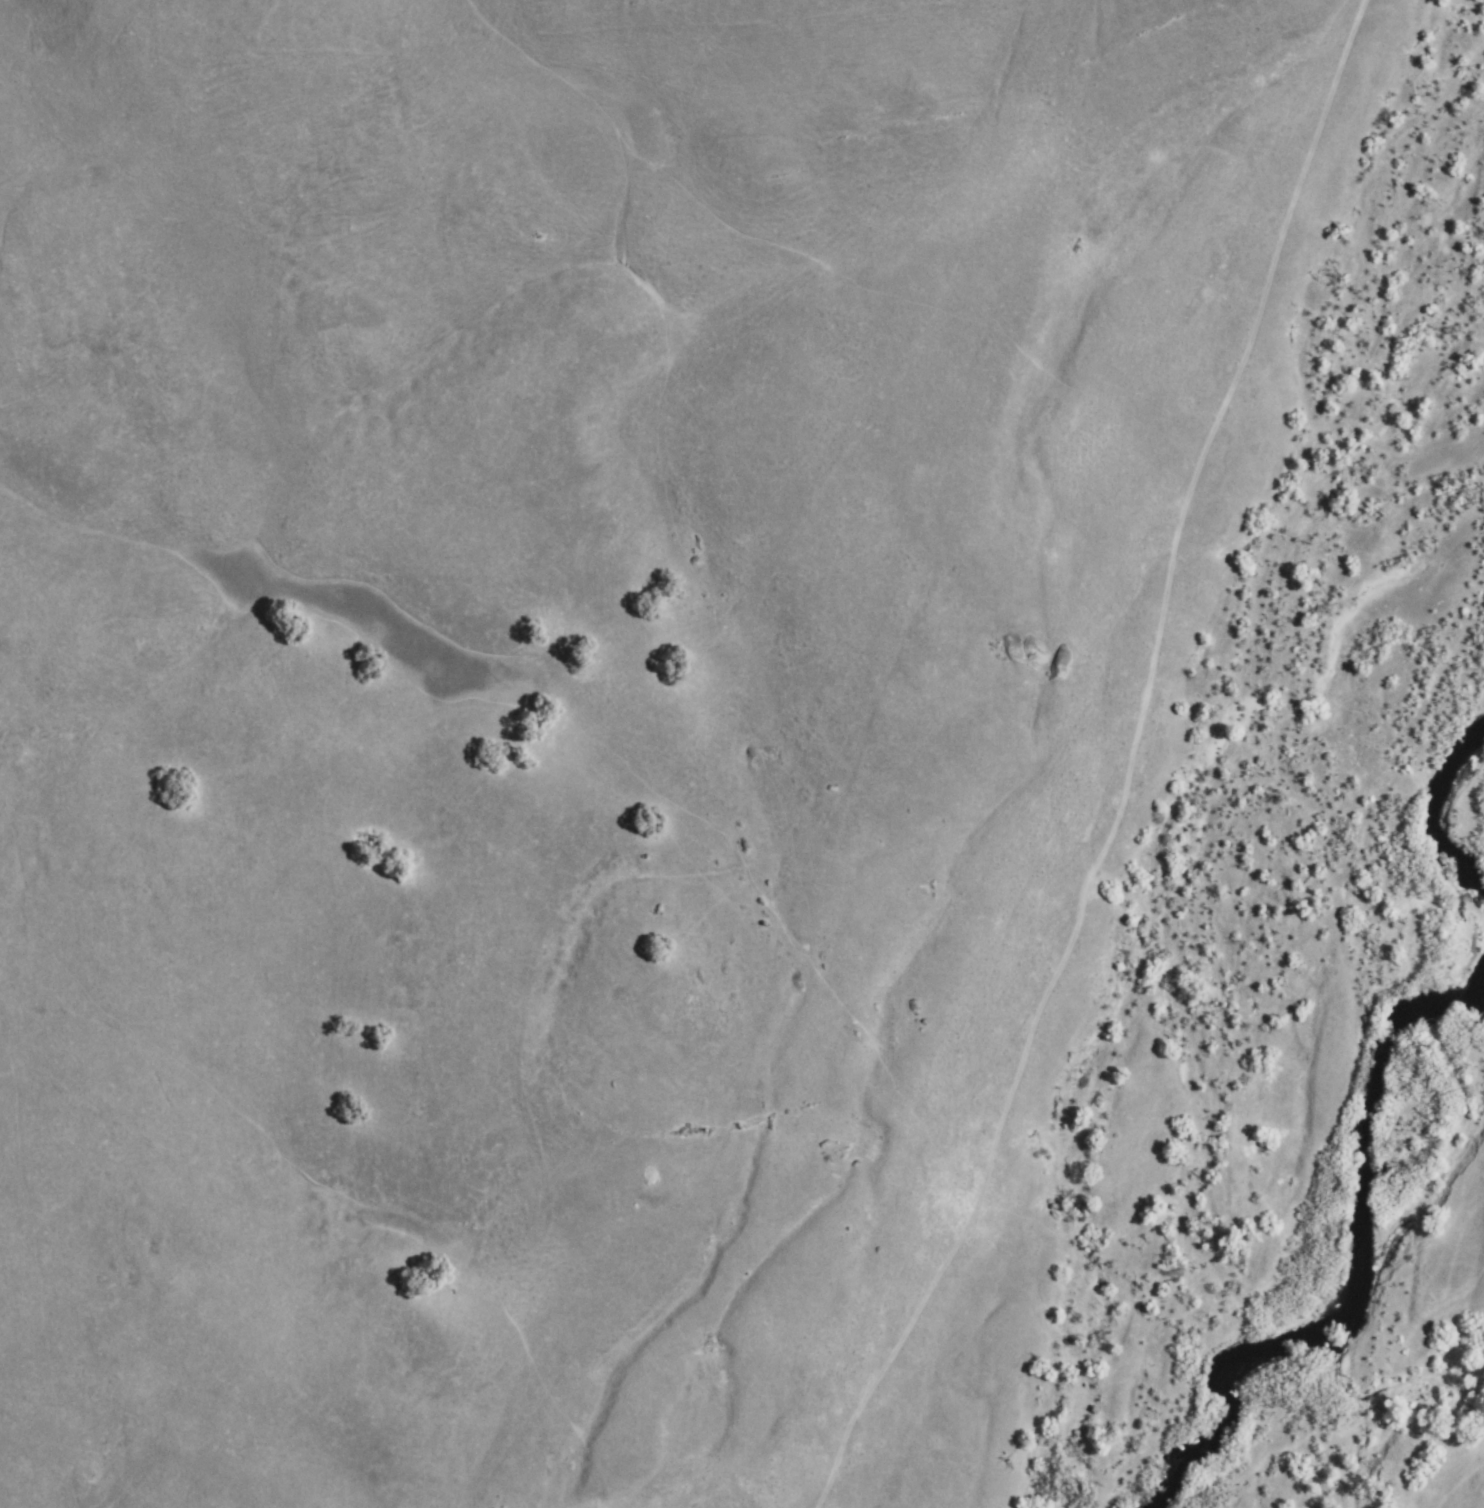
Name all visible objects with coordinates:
river: (1435, 1152)

